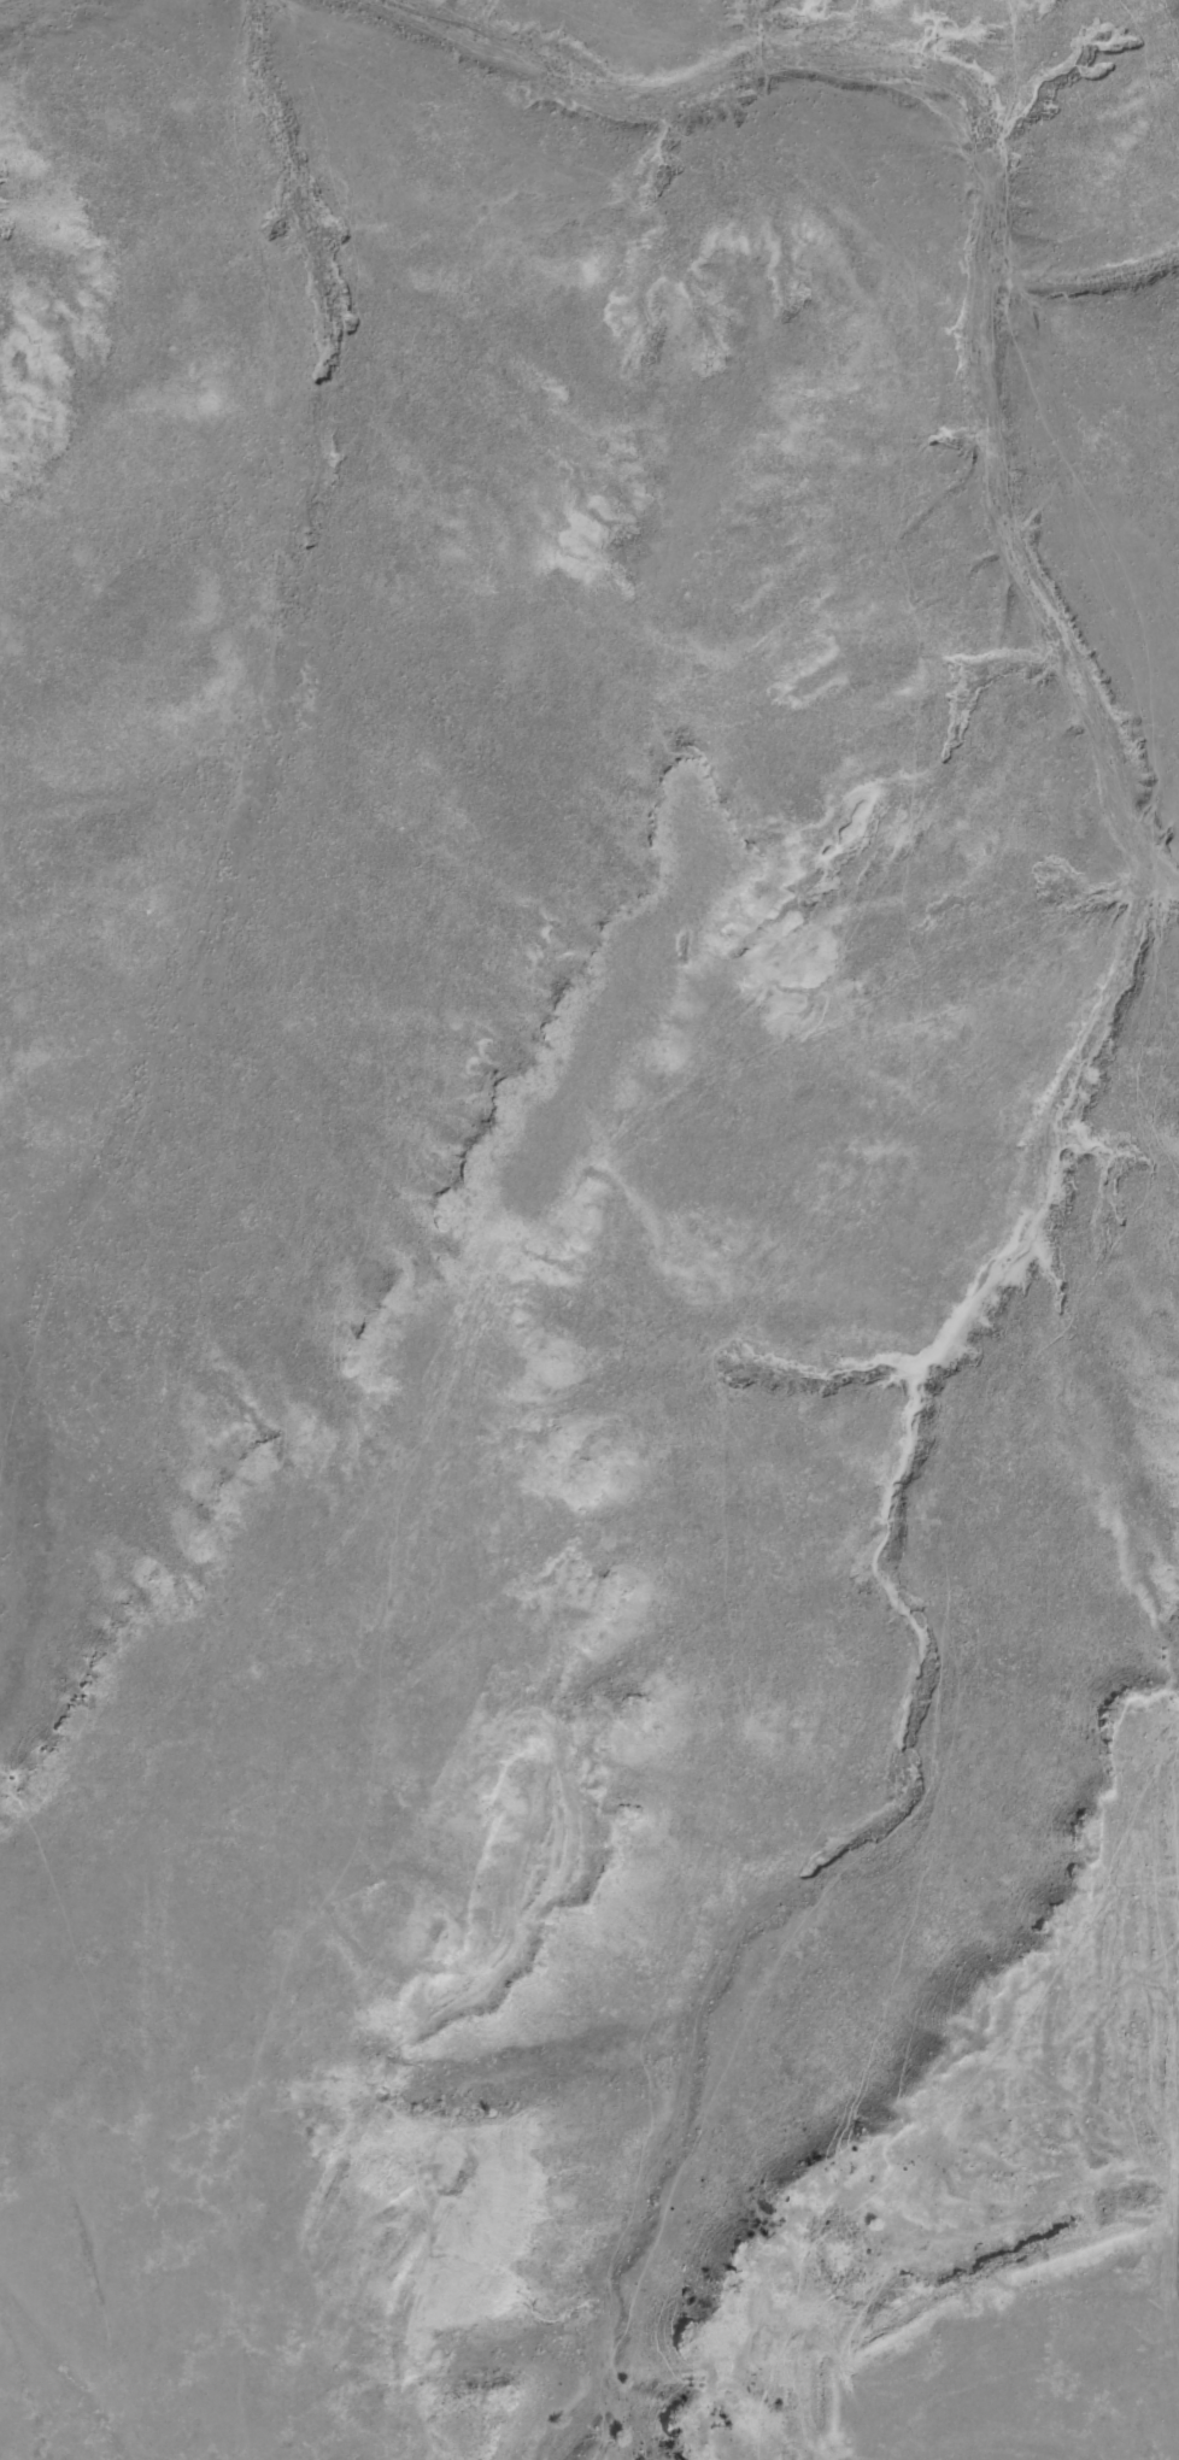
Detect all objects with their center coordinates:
road: (75, 2080)
road: (805, 2433)
road: (1016, 2436)
road: (13, 2442)

